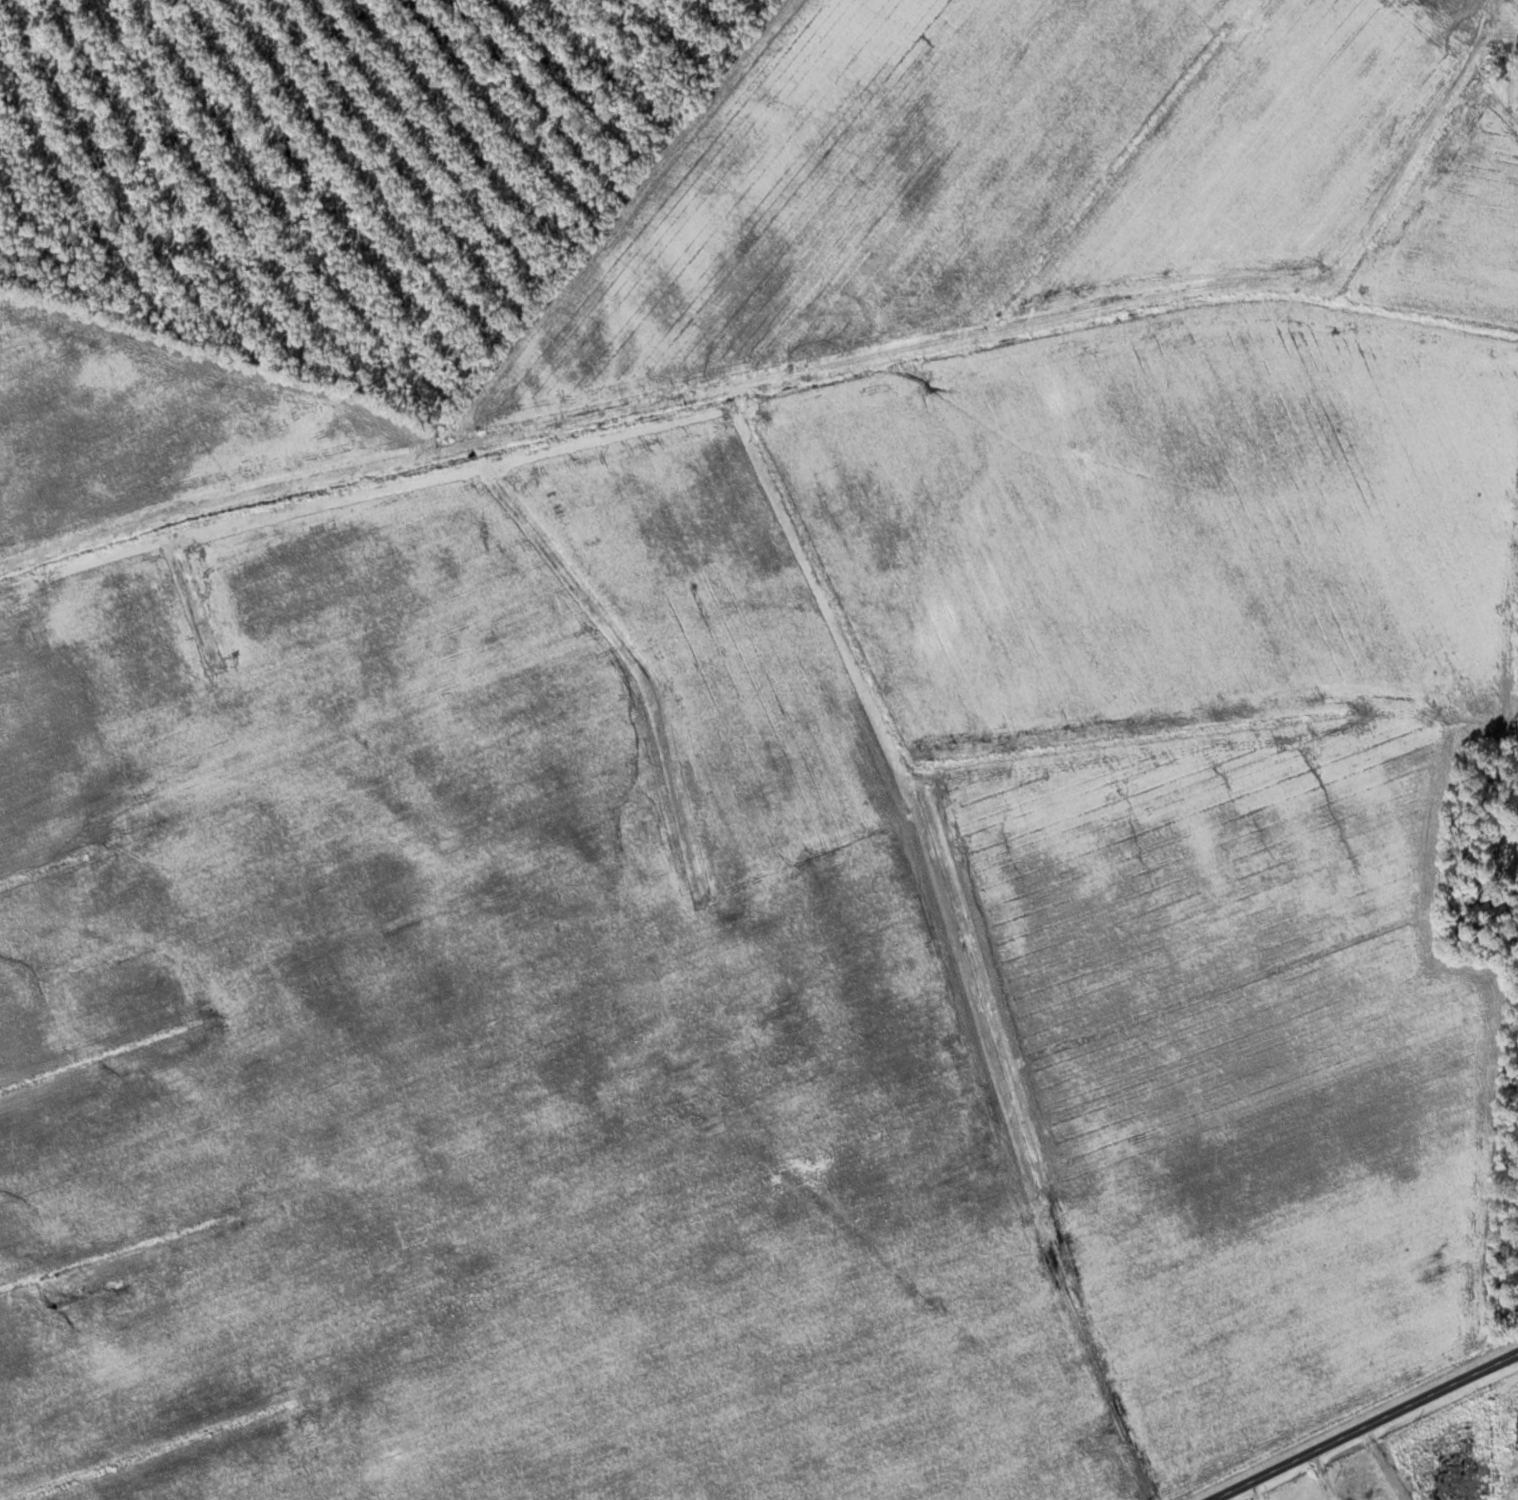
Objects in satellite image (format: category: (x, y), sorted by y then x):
road: (1365, 1426)
building: (1517, 1427)

